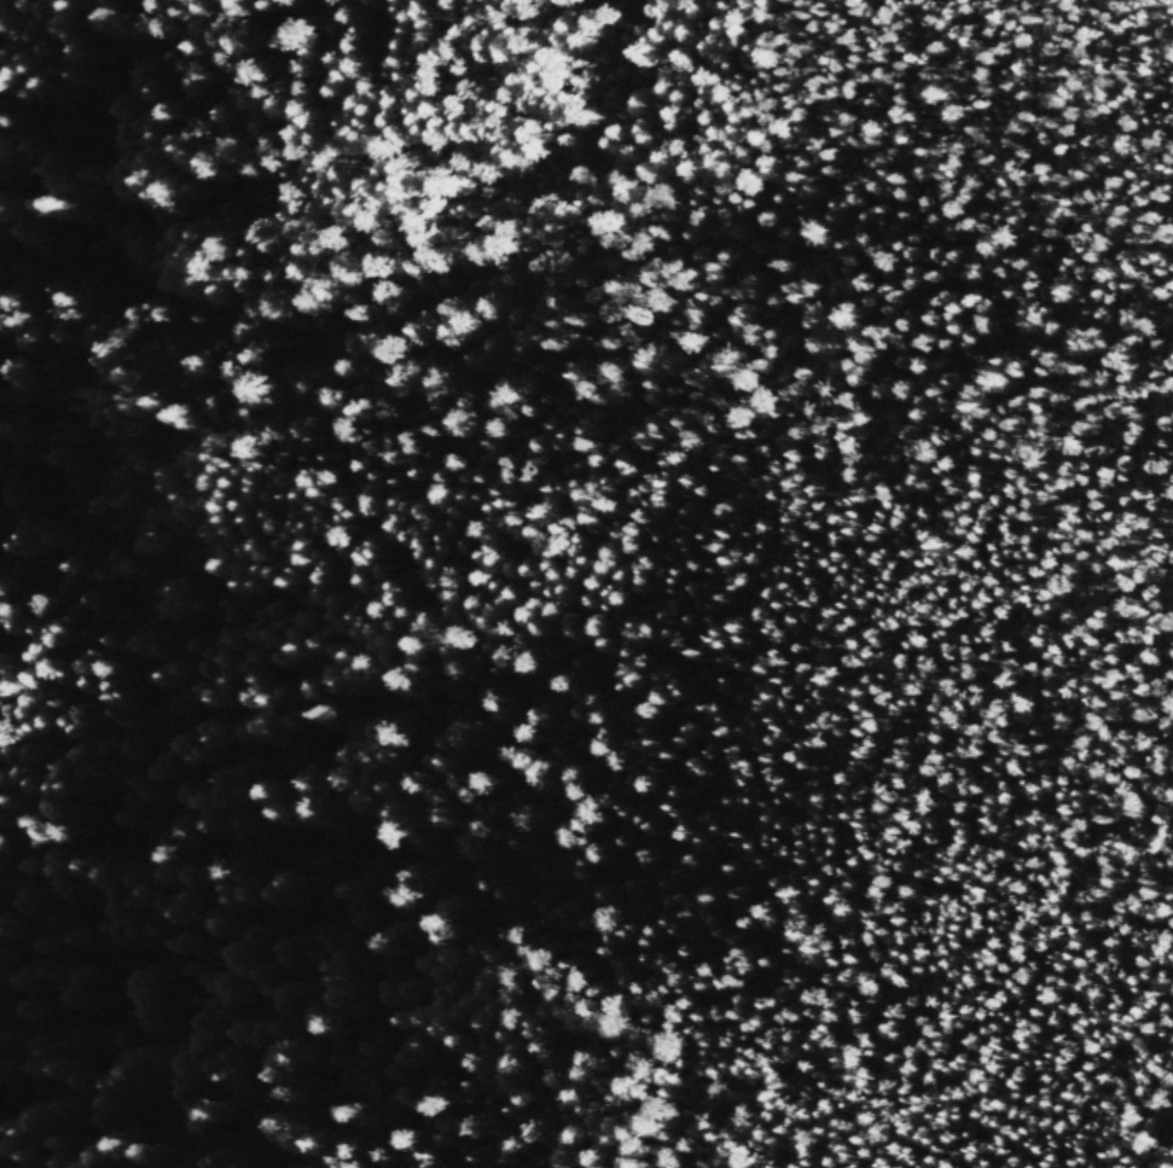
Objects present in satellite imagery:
road: (1052, 715)

